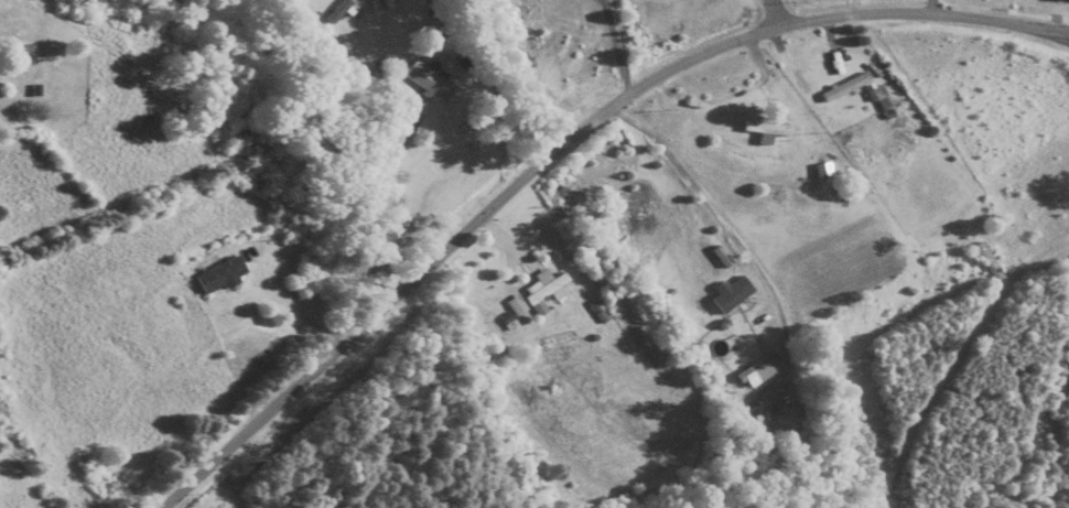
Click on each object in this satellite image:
road: (854, 7)
road: (933, 7)
building: (341, 11)
road: (776, 12)
road: (1052, 30)
road: (611, 48)
building: (426, 83)
building: (839, 91)
building: (766, 130)
road: (563, 142)
road: (719, 228)
building: (219, 277)
building: (539, 292)
road: (298, 307)
building: (758, 371)
building: (757, 431)

